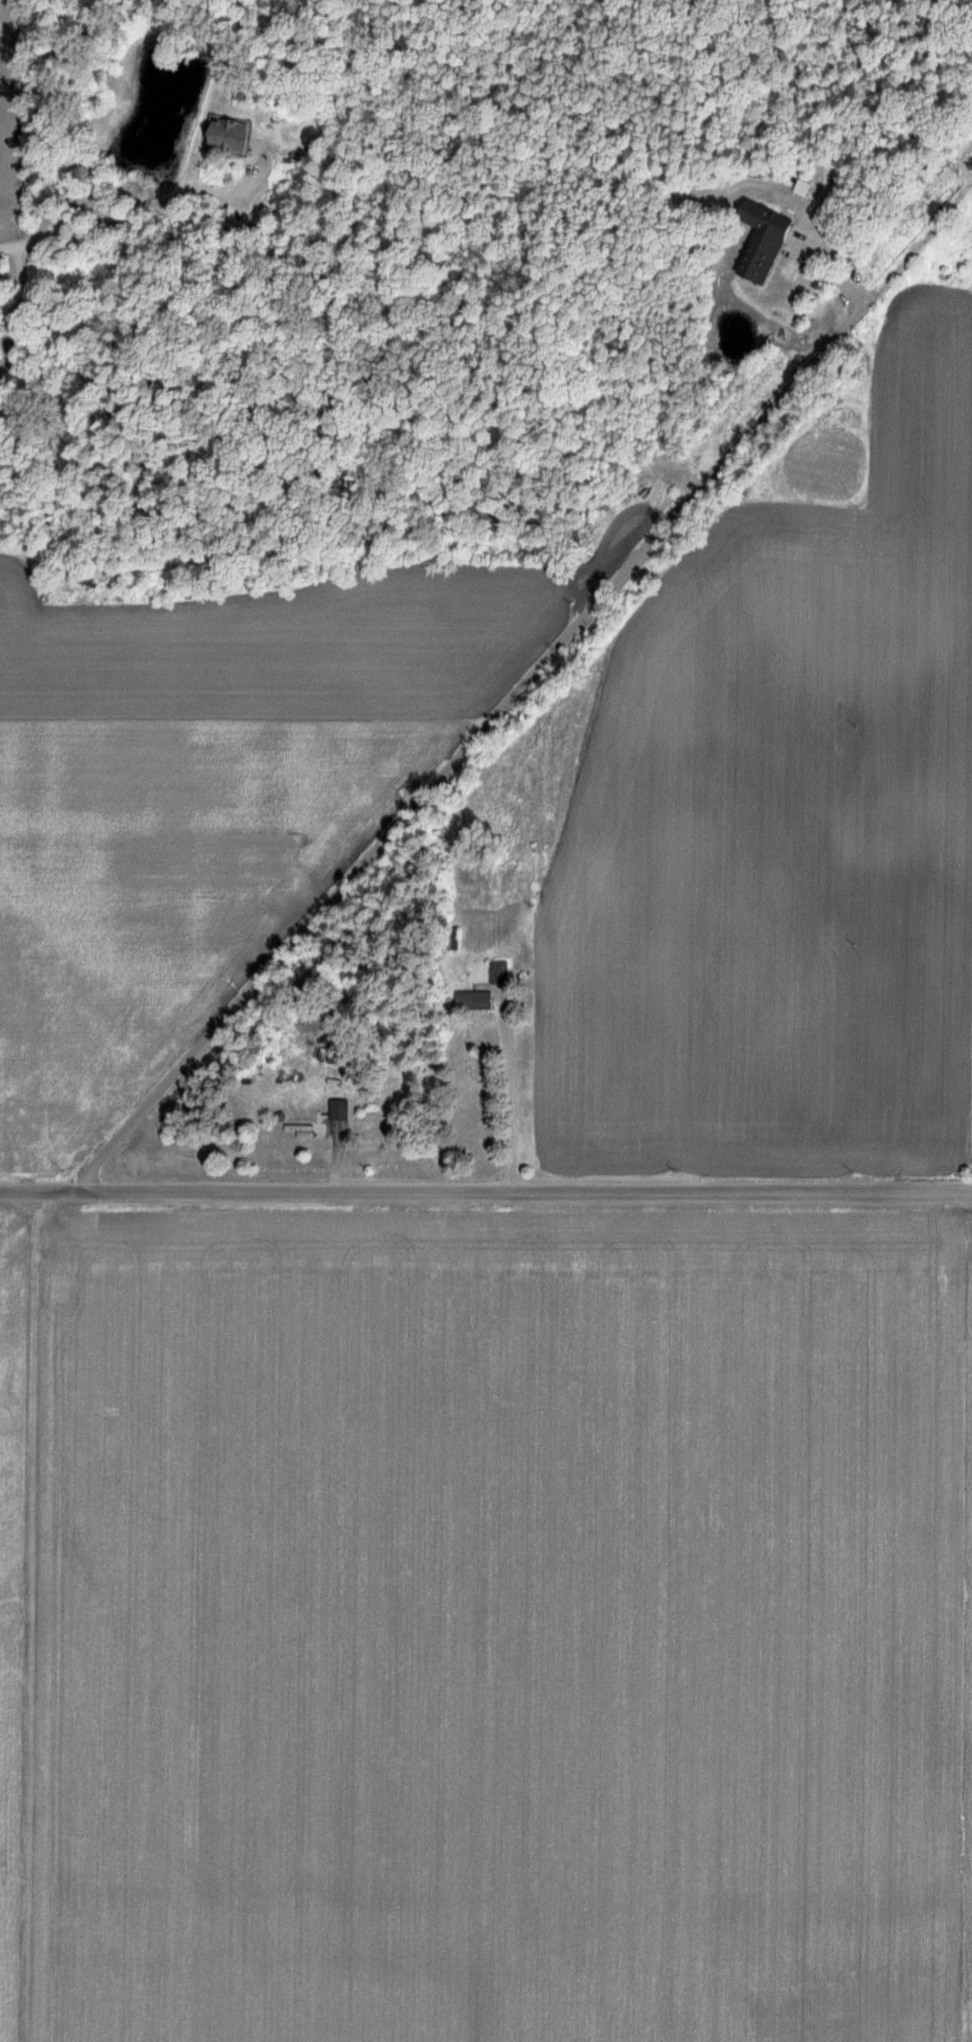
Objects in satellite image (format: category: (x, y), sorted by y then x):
building: (222, 135)
road: (118, 230)
building: (756, 240)
road: (495, 713)
building: (448, 937)
building: (497, 972)
building: (471, 1000)
road: (507, 1095)
building: (315, 1120)
road: (485, 1195)

